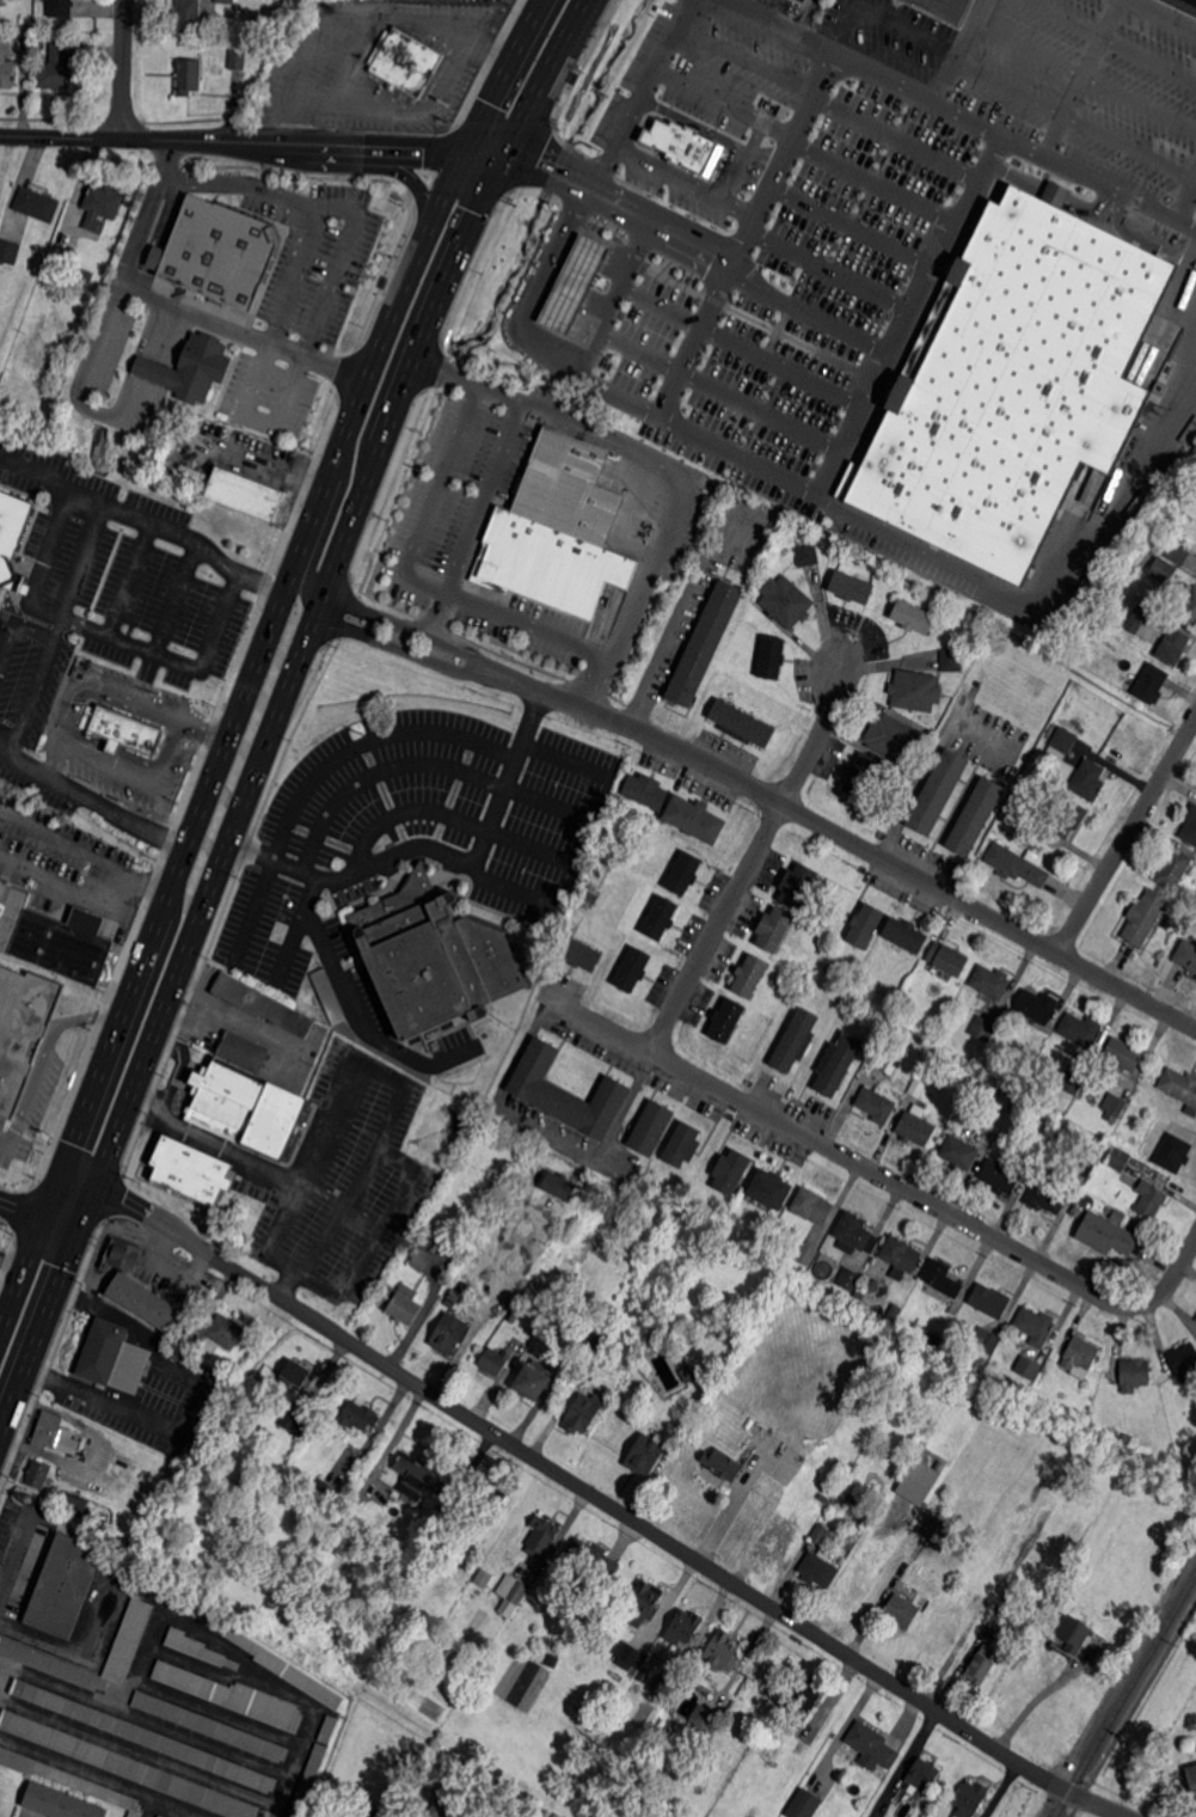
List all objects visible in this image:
building: (226, 1)
building: (1184, 5)
building: (60, 8)
building: (943, 10)
road: (1170, 13)
road: (805, 14)
building: (189, 16)
road: (354, 17)
road: (839, 22)
building: (7, 25)
road: (569, 32)
road: (937, 33)
building: (39, 41)
road: (510, 53)
building: (238, 59)
building: (406, 62)
parking lot: (376, 63)
building: (6, 66)
building: (61, 66)
road: (124, 68)
road: (946, 72)
building: (189, 77)
building: (572, 77)
road: (1080, 77)
road: (645, 91)
road: (951, 106)
road: (250, 142)
building: (680, 143)
traffic signals: (455, 155)
traffic signals: (501, 161)
road: (536, 165)
road: (240, 182)
building: (1055, 192)
road: (1184, 196)
building: (37, 203)
road: (338, 203)
building: (100, 207)
parking lot: (838, 218)
road: (1180, 222)
building: (1191, 238)
building: (8, 250)
building: (217, 252)
parking lot: (314, 252)
road: (753, 261)
building: (82, 279)
building: (382, 281)
building: (572, 282)
road: (613, 289)
gas station: (622, 289)
road: (660, 300)
road: (168, 304)
road: (907, 314)
road: (526, 323)
road: (637, 347)
road: (417, 354)
road: (86, 365)
road: (367, 368)
building: (191, 369)
road: (466, 378)
building: (1050, 391)
parking lot: (268, 396)
road: (258, 415)
road: (596, 433)
road: (781, 481)
building: (250, 495)
road: (430, 497)
road: (142, 518)
building: (1182, 518)
road: (472, 519)
building: (11, 532)
building: (557, 532)
building: (1179, 552)
building: (806, 556)
road: (302, 558)
building: (1163, 570)
building: (851, 588)
road: (640, 589)
building: (786, 601)
building: (1189, 606)
building: (1142, 610)
road: (676, 616)
building: (912, 617)
road: (16, 623)
road: (57, 626)
road: (528, 626)
road: (103, 631)
road: (412, 631)
building: (705, 643)
building: (1172, 647)
road: (403, 649)
building: (771, 656)
building: (950, 660)
building: (74, 671)
building: (1149, 684)
building: (914, 691)
road: (27, 699)
building: (742, 723)
building: (122, 730)
road: (202, 730)
parking lot: (123, 734)
road: (65, 738)
building: (893, 738)
building: (1063, 740)
road: (559, 754)
road: (55, 757)
road: (930, 760)
road: (319, 767)
road: (362, 776)
building: (860, 776)
building: (1087, 781)
building: (646, 790)
building: (937, 793)
road: (94, 800)
road: (442, 812)
building: (1020, 815)
building: (1068, 816)
building: (974, 818)
building: (695, 819)
road: (949, 822)
building: (1190, 826)
building: (1007, 831)
road: (1127, 837)
road: (852, 840)
parking lot: (409, 845)
road: (440, 849)
road: (753, 861)
building: (1017, 865)
building: (1172, 868)
building: (685, 873)
road: (216, 879)
building: (797, 885)
road: (166, 886)
building: (588, 894)
road: (82, 895)
building: (660, 917)
building: (1145, 917)
building: (866, 925)
building: (774, 928)
building: (904, 935)
building: (49, 938)
building: (579, 954)
building: (1186, 955)
building: (433, 956)
building: (946, 959)
building: (633, 969)
building: (828, 969)
building: (750, 975)
building: (916, 978)
building: (989, 981)
building: (327, 996)
building: (260, 1004)
building: (1036, 1007)
road: (358, 1018)
building: (726, 1020)
building: (982, 1028)
building: (23, 1029)
building: (1080, 1030)
building: (433, 1033)
building: (795, 1041)
building: (434, 1044)
road: (43, 1051)
building: (1010, 1051)
building: (1122, 1054)
building: (836, 1063)
building: (883, 1063)
building: (1072, 1083)
building: (916, 1087)
building: (1180, 1089)
building: (568, 1091)
building: (244, 1097)
building: (1000, 1101)
building: (875, 1106)
building: (1112, 1106)
road: (550, 1125)
building: (651, 1127)
road: (331, 1130)
building: (914, 1130)
road: (4, 1137)
building: (1130, 1140)
building: (683, 1144)
building: (1171, 1151)
road: (840, 1152)
building: (958, 1154)
building: (1117, 1158)
building: (1032, 1160)
building: (1082, 1166)
traffic signals: (57, 1168)
building: (191, 1169)
building: (731, 1170)
building: (999, 1177)
parking lot: (341, 1179)
traffic signals: (99, 1185)
building: (560, 1185)
building: (771, 1191)
building: (1045, 1198)
building: (1149, 1199)
building: (811, 1206)
building: (1117, 1216)
road: (38, 1222)
road: (35, 1226)
road: (272, 1229)
road: (375, 1229)
building: (854, 1232)
building: (765, 1235)
building: (1105, 1235)
road: (157, 1241)
building: (119, 1250)
road: (11, 1254)
building: (424, 1254)
building: (900, 1254)
building: (805, 1255)
road: (65, 1273)
road: (1172, 1278)
building: (848, 1279)
building: (942, 1279)
building: (872, 1286)
building: (860, 1292)
building: (137, 1297)
building: (568, 1301)
building: (401, 1302)
building: (989, 1302)
building: (1195, 1316)
building: (514, 1317)
building: (1195, 1320)
building: (1035, 1326)
building: (220, 1330)
building: (448, 1333)
building: (601, 1336)
building: (936, 1340)
building: (985, 1340)
building: (257, 1346)
building: (99, 1352)
building: (1079, 1357)
building: (495, 1359)
building: (1180, 1363)
building: (1026, 1368)
building: (688, 1374)
building: (298, 1375)
building: (1133, 1375)
building: (533, 1378)
road: (192, 1405)
building: (582, 1413)
building: (358, 1414)
building: (294, 1421)
building: (54, 1434)
building: (645, 1454)
building: (723, 1463)
building: (38, 1473)
road: (564, 1475)
building: (417, 1476)
building: (916, 1480)
building: (487, 1492)
building: (323, 1495)
building: (823, 1499)
building: (74, 1503)
building: (884, 1517)
building: (449, 1519)
building: (936, 1530)
building: (542, 1534)
building: (820, 1535)
building: (779, 1544)
building: (869, 1550)
building: (593, 1559)
building: (817, 1571)
building: (485, 1578)
building: (855, 1586)
building: (62, 1587)
building: (513, 1595)
building: (643, 1603)
building: (900, 1611)
road: (178, 1615)
building: (1018, 1619)
building: (685, 1626)
building: (1072, 1634)
building: (127, 1646)
building: (192, 1646)
building: (251, 1647)
building: (723, 1651)
building: (630, 1656)
building: (552, 1659)
building: (980, 1666)
building: (645, 1675)
building: (661, 1684)
road: (1044, 1693)
railway: (1124, 1694)
building: (233, 1696)
building: (804, 1696)
building: (704, 1720)
building: (210, 1725)
building: (327, 1730)
building: (145, 1736)
building: (872, 1744)
road: (139, 1754)
road: (904, 1762)
building: (128, 1764)
building: (409, 1768)
road: (86, 1769)
building: (924, 1773)
building: (68, 1779)
building: (309, 1780)
building: (1191, 1781)
building: (968, 1800)
building: (61, 1803)
building: (804, 1804)
road: (1097, 1804)
building: (444, 1805)
building: (358, 1810)
building: (378, 1811)
road: (276, 1812)
road: (511, 1813)
building: (158, 1816)
building: (162, 1816)

